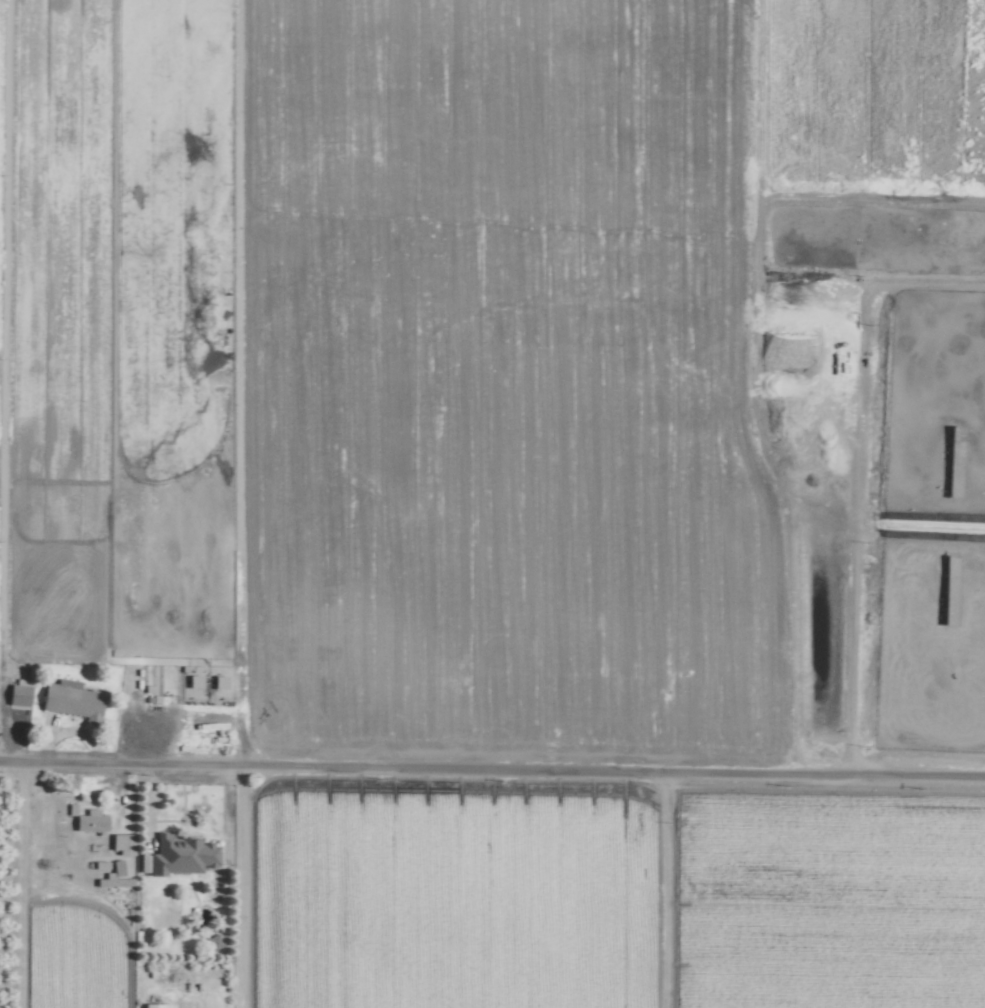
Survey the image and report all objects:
building: (16, 694)
building: (69, 699)
building: (162, 699)
road: (188, 721)
road: (492, 776)
building: (88, 821)
building: (119, 843)
building: (179, 856)
building: (115, 867)
building: (109, 880)
building: (149, 1005)

